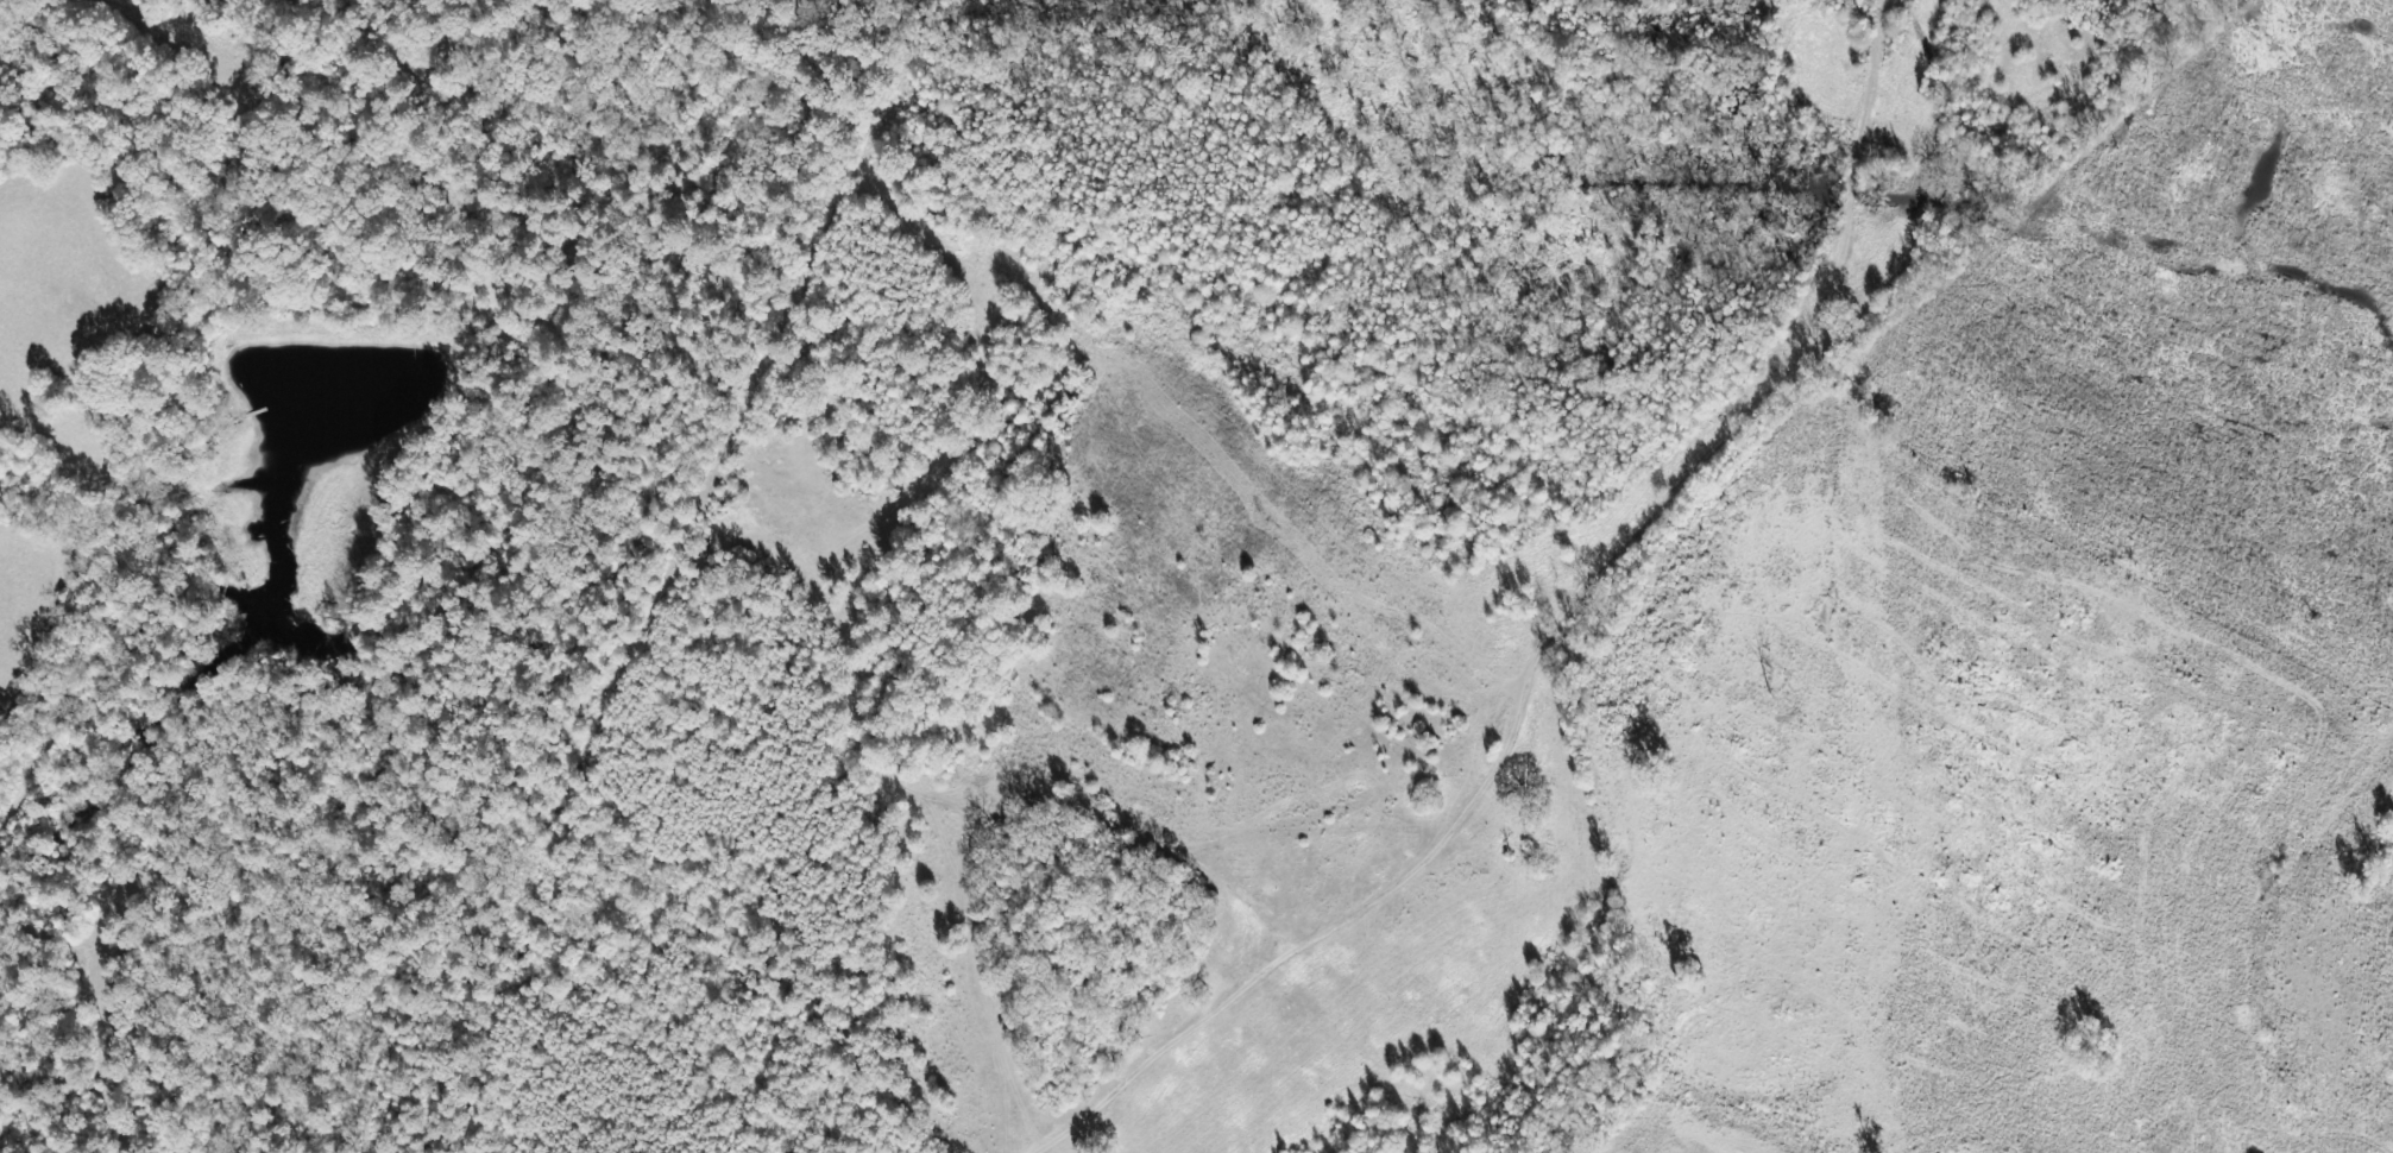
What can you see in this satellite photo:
road: (75, 568)

